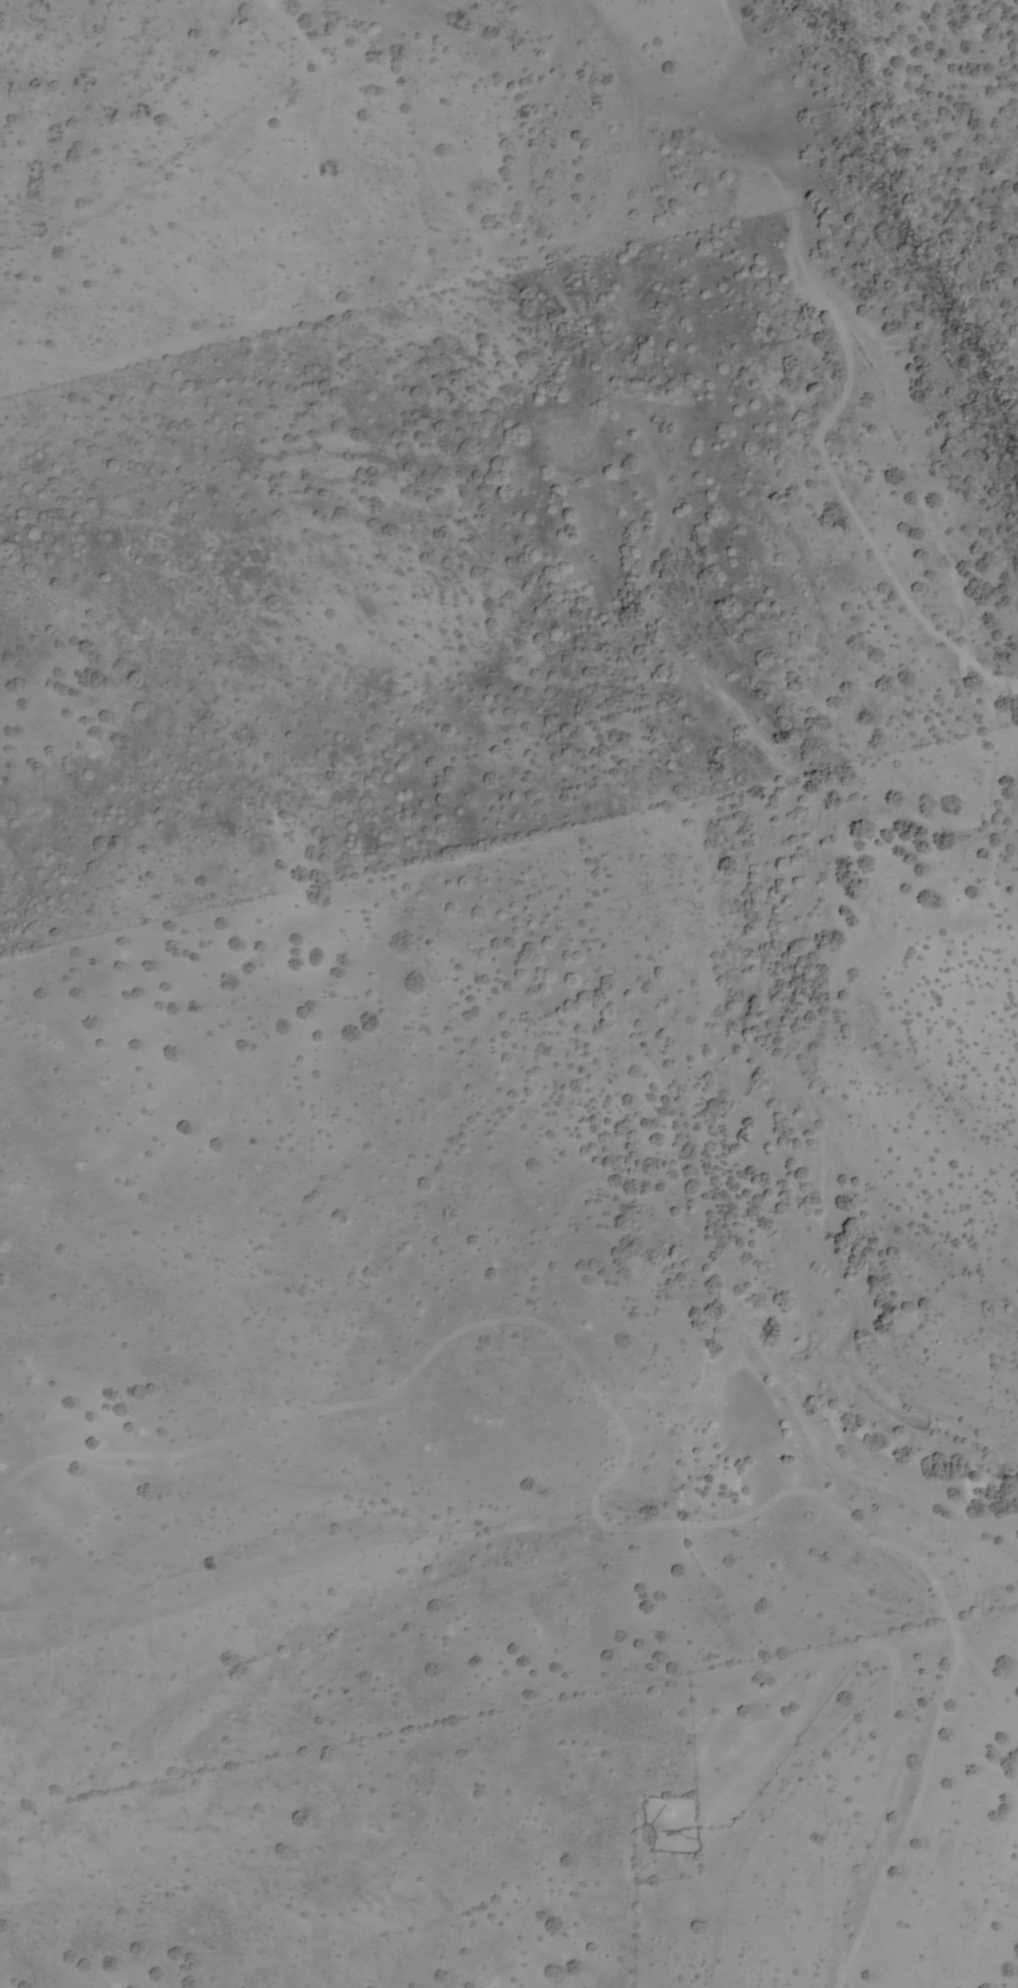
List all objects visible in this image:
road: (960, 622)
road: (786, 1496)

